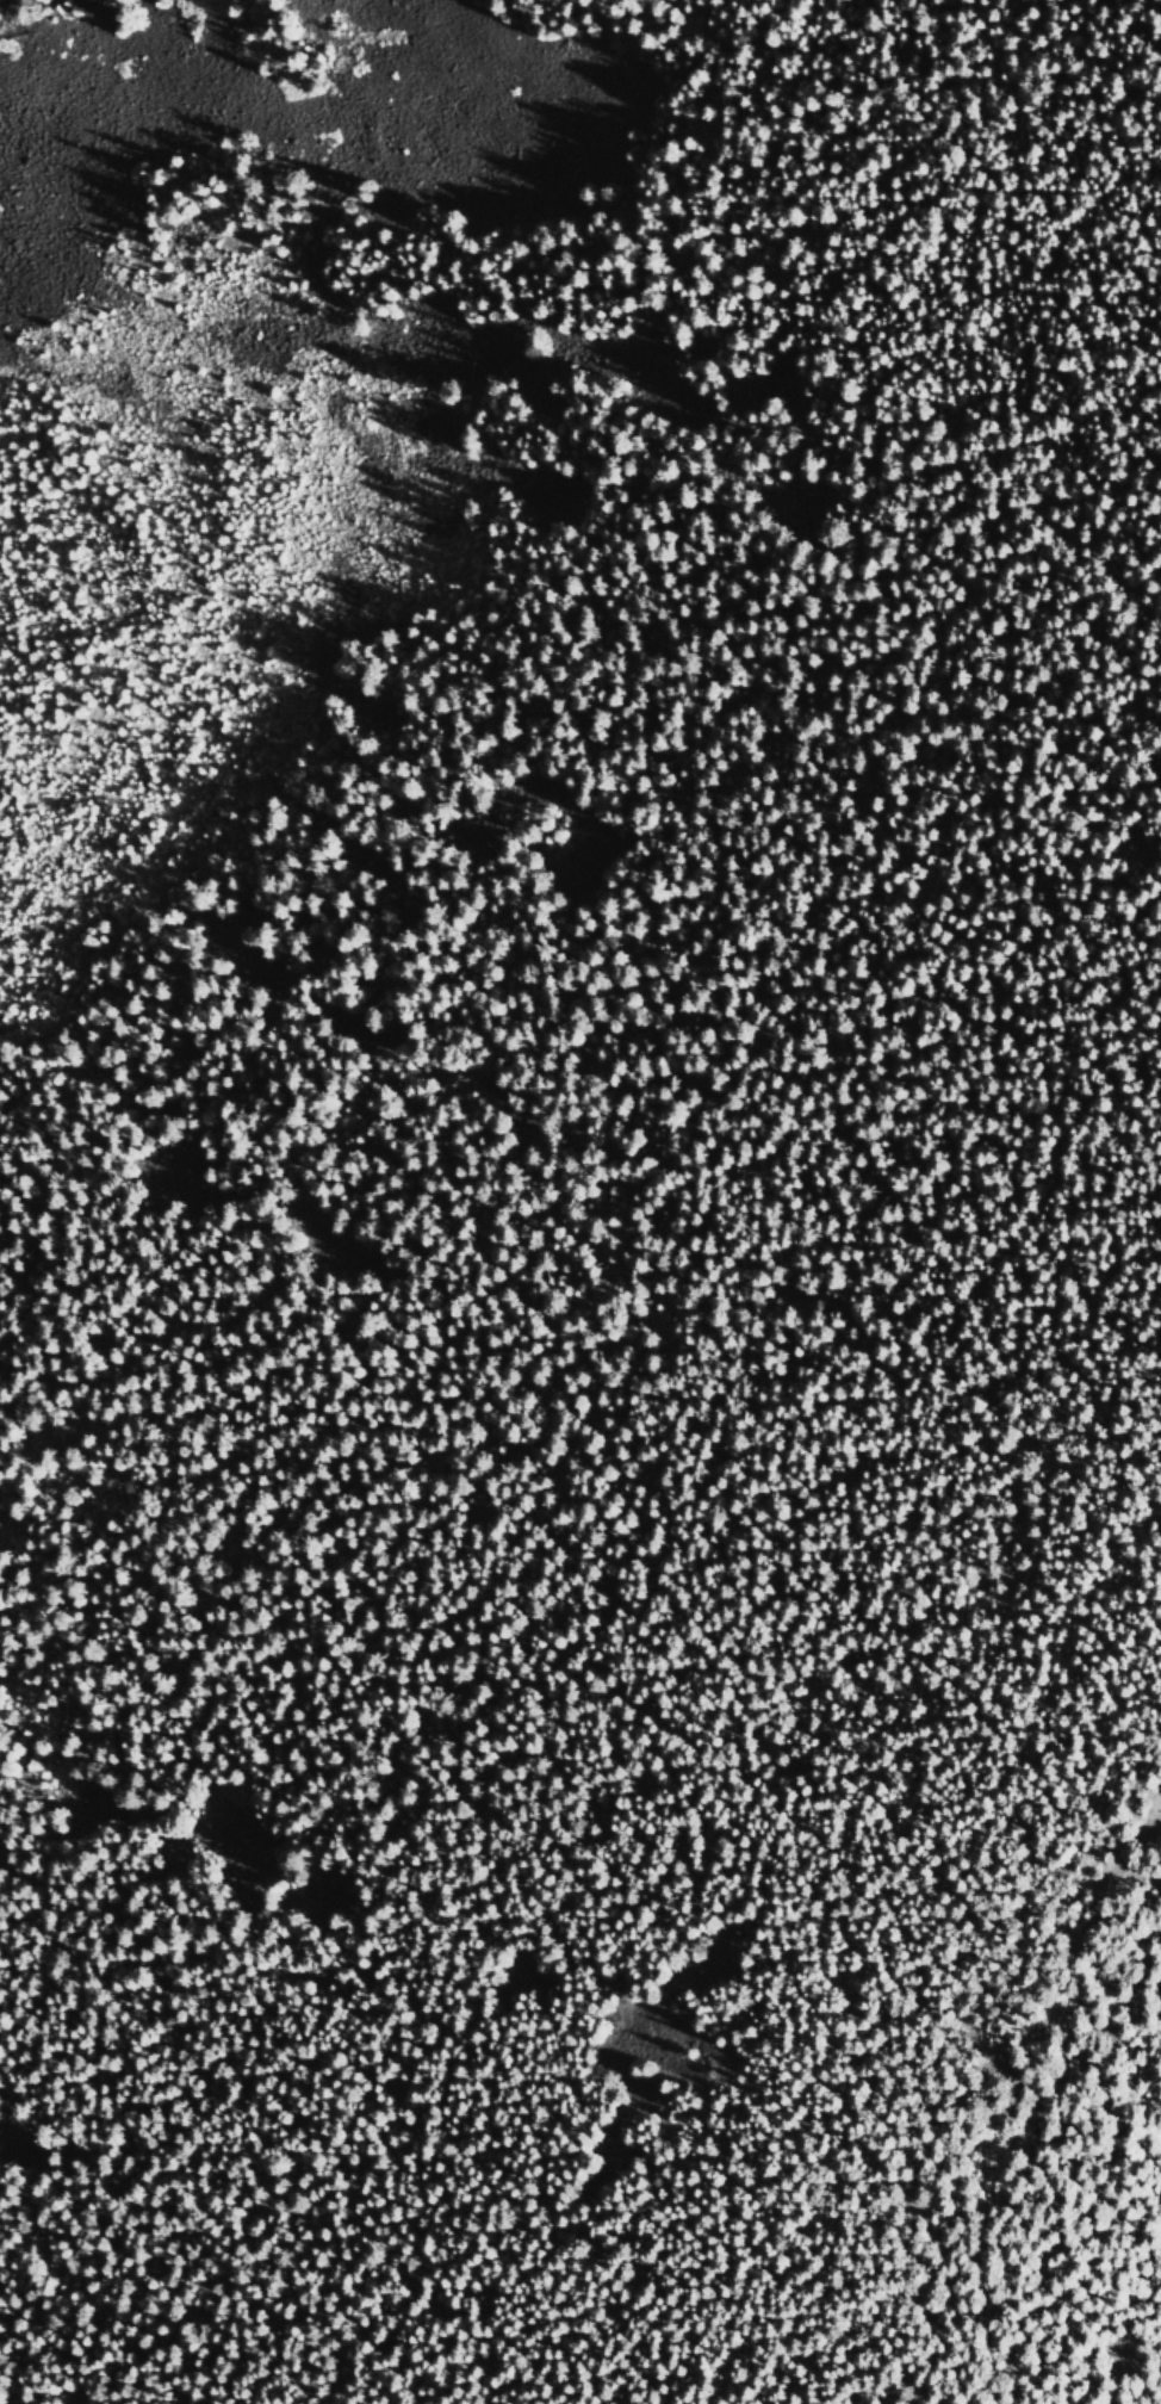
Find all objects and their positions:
road: (957, 2058)

